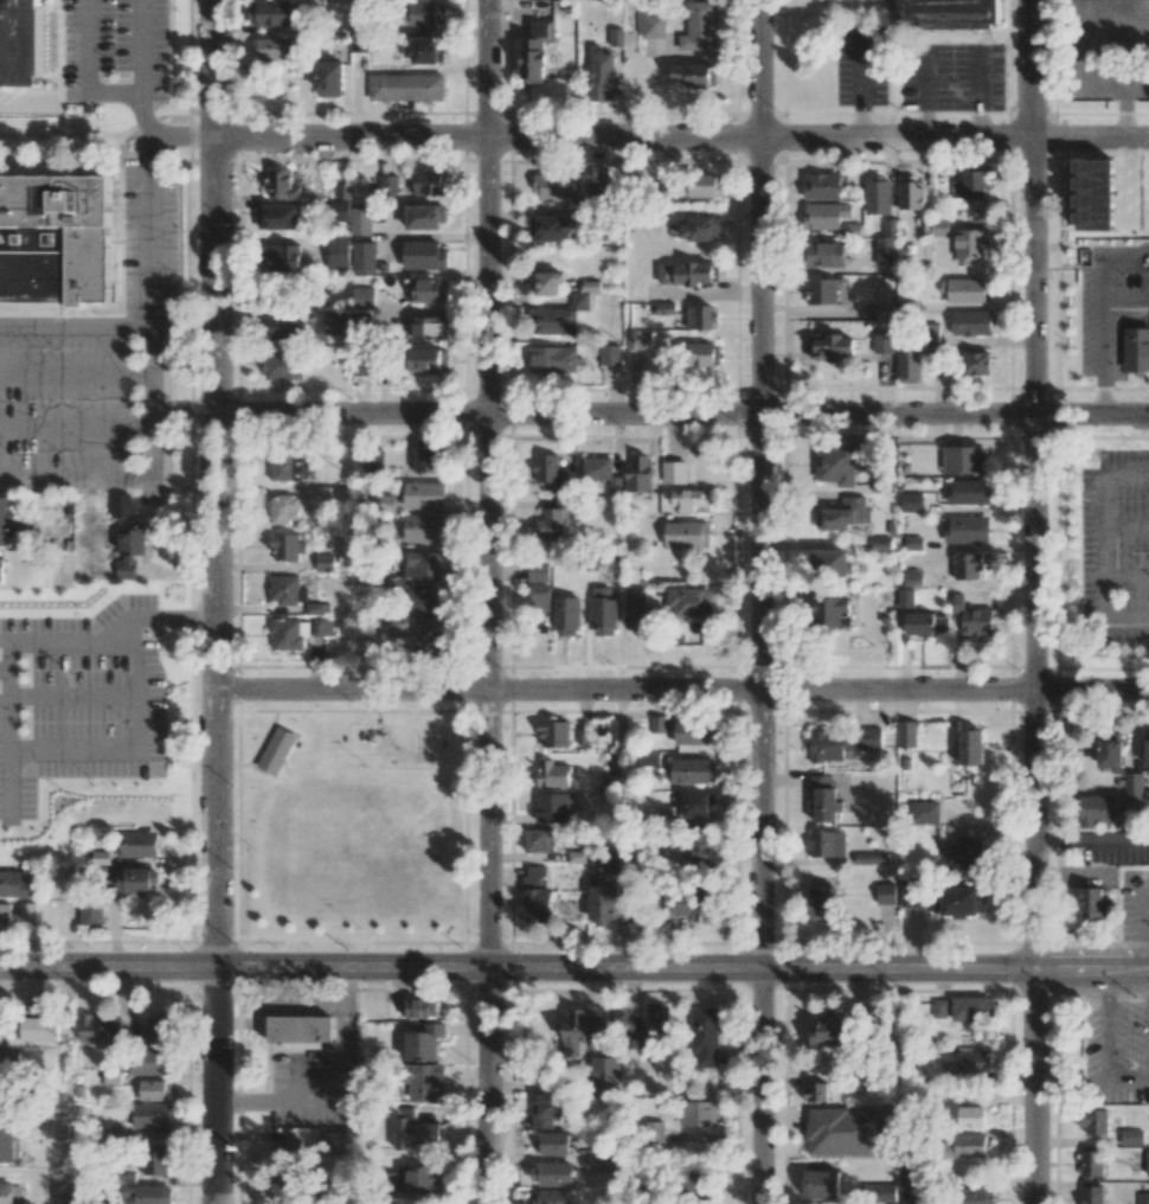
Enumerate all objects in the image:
road: (32, 12)
building: (269, 13)
building: (955, 13)
building: (425, 14)
road: (15, 25)
road: (91, 25)
building: (653, 26)
building: (699, 26)
road: (152, 32)
building: (20, 43)
building: (274, 47)
building: (535, 49)
building: (424, 50)
parking lot: (89, 51)
parking lot: (860, 65)
building: (601, 73)
road: (76, 75)
building: (694, 75)
parking lot: (951, 77)
building: (329, 78)
road: (859, 84)
building: (406, 87)
road: (118, 105)
road: (150, 134)
road: (76, 136)
road: (181, 137)
road: (681, 140)
building: (429, 182)
road: (1132, 182)
building: (281, 184)
building: (704, 185)
building: (970, 185)
building: (387, 186)
building: (822, 186)
building: (553, 187)
building: (604, 190)
building: (1096, 193)
building: (878, 196)
building: (910, 196)
building: (826, 214)
building: (277, 217)
building: (424, 217)
building: (360, 220)
building: (890, 226)
building: (933, 228)
building: (551, 229)
building: (700, 229)
building: (57, 242)
road: (6, 243)
parking lot: (149, 244)
building: (970, 245)
road: (152, 246)
building: (885, 251)
building: (338, 254)
building: (826, 254)
building: (424, 255)
building: (364, 256)
building: (280, 258)
road: (1106, 258)
building: (685, 274)
building: (546, 283)
building: (963, 289)
building: (430, 290)
building: (822, 290)
building: (362, 297)
road: (1125, 301)
building: (885, 310)
road: (76, 312)
building: (560, 316)
building: (700, 316)
building: (360, 318)
building: (335, 322)
building: (971, 322)
road: (153, 326)
building: (283, 327)
building: (430, 328)
building: (638, 339)
building: (882, 342)
road: (191, 345)
building: (1137, 346)
building: (828, 347)
building: (701, 353)
building: (610, 354)
building: (429, 359)
building: (552, 359)
road: (1102, 359)
building: (976, 363)
building: (361, 365)
building: (909, 365)
building: (282, 366)
road: (76, 376)
road: (182, 408)
parking lot: (82, 411)
road: (681, 416)
road: (76, 429)
building: (429, 459)
building: (964, 460)
building: (373, 461)
building: (837, 462)
building: (289, 468)
building: (551, 472)
building: (674, 472)
building: (601, 473)
building: (638, 474)
road: (76, 478)
road: (213, 483)
building: (316, 492)
building: (969, 492)
building: (423, 494)
building: (689, 499)
building: (911, 502)
building: (122, 506)
building: (282, 510)
building: (846, 513)
building: (8, 520)
building: (551, 523)
building: (423, 527)
road: (1126, 527)
building: (967, 529)
building: (687, 534)
road: (1105, 542)
building: (911, 543)
building: (881, 544)
building: (285, 546)
building: (130, 551)
building: (830, 562)
building: (323, 563)
building: (968, 565)
building: (418, 569)
building: (2, 570)
building: (537, 571)
road: (1126, 575)
building: (913, 578)
building: (285, 589)
building: (539, 597)
building: (906, 597)
building: (635, 600)
road: (488, 602)
building: (691, 602)
road: (760, 602)
road: (1036, 602)
building: (426, 603)
building: (603, 611)
building: (832, 611)
building: (566, 616)
building: (974, 617)
building: (926, 623)
building: (321, 627)
building: (289, 634)
building: (428, 642)
road: (11, 646)
road: (5, 671)
road: (681, 693)
road: (73, 697)
parking lot: (82, 698)
building: (695, 732)
building: (554, 734)
building: (907, 734)
building: (583, 736)
building: (842, 743)
building: (971, 747)
road: (129, 749)
building: (1147, 749)
building: (276, 750)
building: (1109, 750)
building: (649, 758)
building: (693, 770)
building: (551, 774)
building: (1132, 787)
building: (823, 799)
building: (552, 803)
building: (698, 805)
building: (1097, 807)
building: (922, 812)
park: (351, 830)
road: (1092, 838)
building: (540, 841)
building: (137, 844)
building: (826, 844)
building: (698, 846)
building: (969, 851)
building: (871, 858)
building: (614, 865)
road: (1076, 876)
building: (136, 879)
building: (17, 885)
building: (886, 891)
building: (537, 894)
building: (912, 895)
building: (958, 901)
building: (823, 902)
building: (1095, 902)
building: (692, 904)
building: (602, 905)
building: (5, 916)
building: (28, 916)
road: (1147, 928)
road: (574, 969)
road: (1110, 984)
building: (939, 1007)
building: (419, 1008)
building: (973, 1008)
building: (657, 1019)
building: (2, 1024)
building: (582, 1026)
building: (100, 1029)
building: (38, 1030)
building: (156, 1030)
building: (829, 1031)
building: (300, 1032)
building: (704, 1037)
building: (635, 1038)
road: (1108, 1039)
building: (423, 1043)
building: (9, 1061)
building: (150, 1061)
parking lot: (306, 1061)
building: (971, 1063)
building: (605, 1075)
building: (111, 1078)
road: (1071, 1081)
road: (1128, 1081)
building: (423, 1082)
road: (214, 1085)
building: (1, 1087)
building: (153, 1090)
building: (815, 1091)
building: (975, 1097)
building: (547, 1110)
building: (699, 1113)
building: (150, 1115)
building: (973, 1116)
building: (1095, 1121)
building: (413, 1131)
building: (654, 1132)
building: (842, 1132)
building: (1131, 1136)
building: (6, 1140)
building: (333, 1142)
building: (552, 1144)
building: (967, 1145)
building: (287, 1151)
building: (155, 1160)
building: (1147, 1161)
building: (1091, 1163)
building: (551, 1173)
building: (906, 1176)
building: (418, 1179)
building: (698, 1180)
building: (821, 1184)
building: (285, 1190)
building: (145, 1191)
building: (878, 1192)
building: (9, 1193)
building: (60, 1193)
building: (1092, 1195)
building: (548, 1196)
building: (978, 1196)
building: (904, 1198)
building: (1142, 1198)

